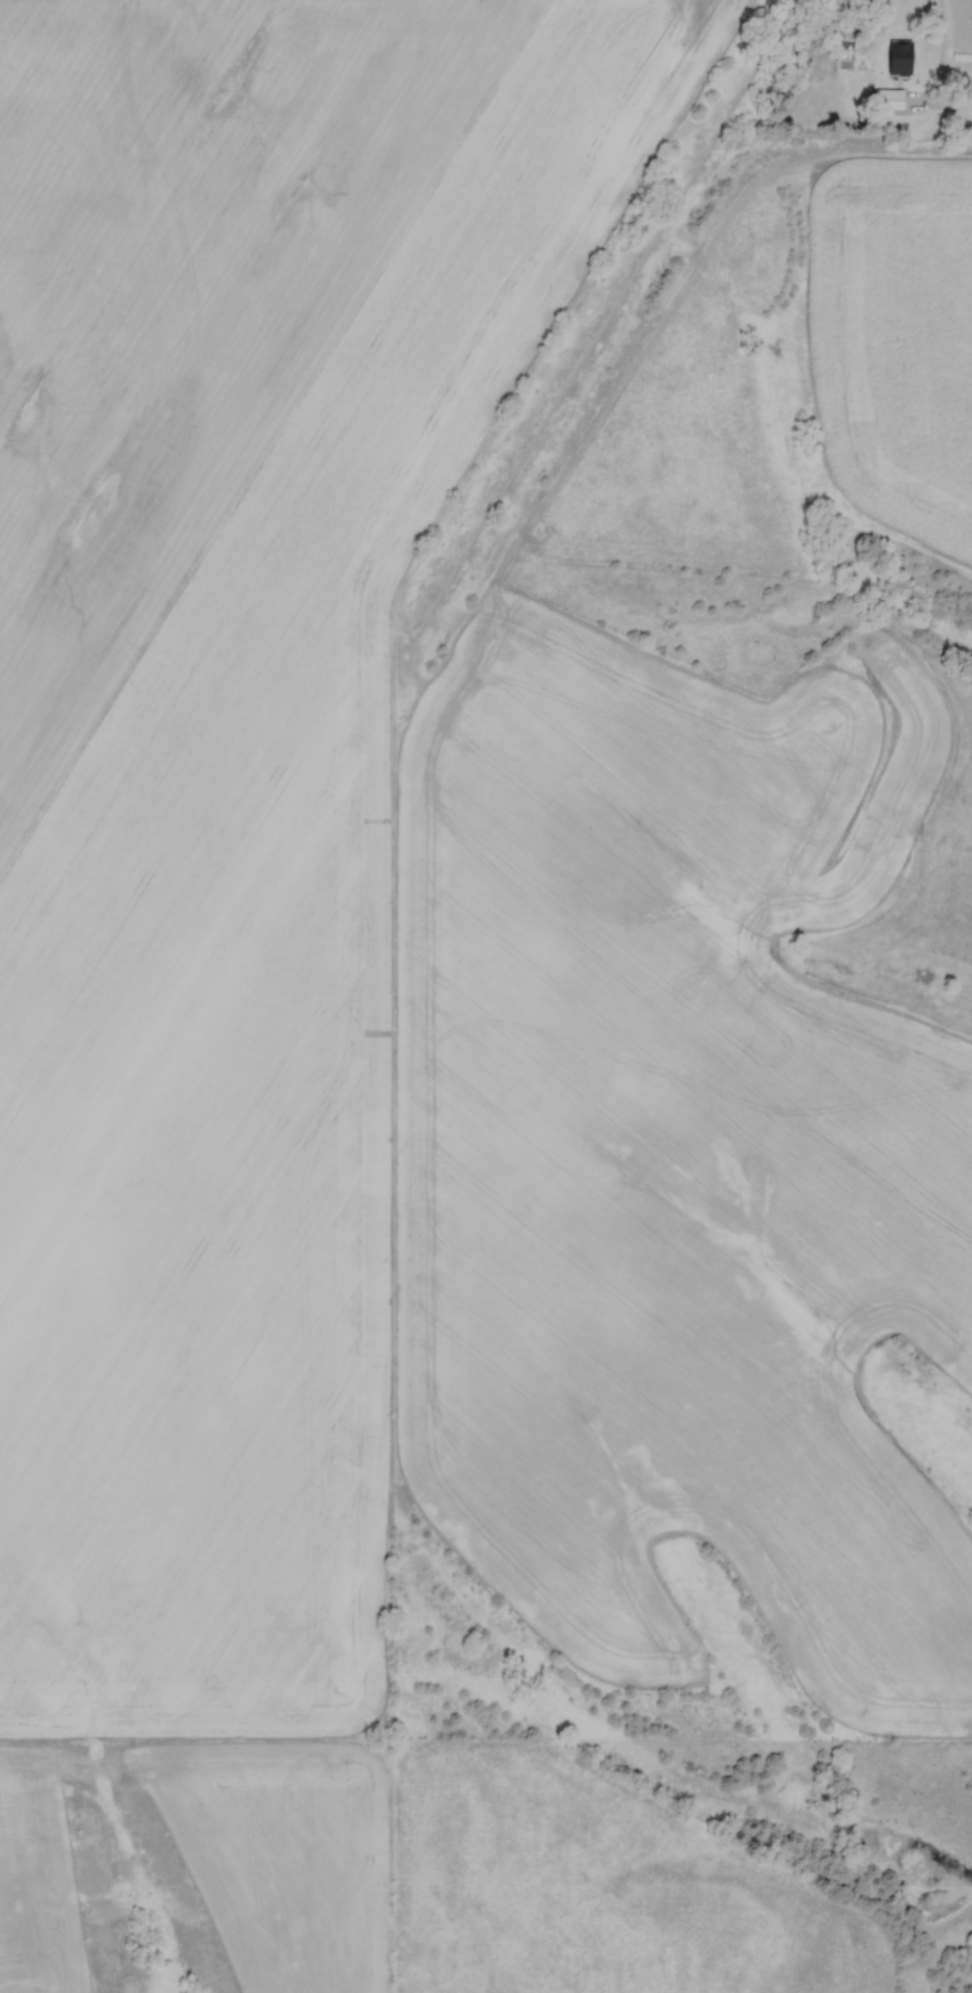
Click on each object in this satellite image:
building: (899, 57)
building: (890, 99)

